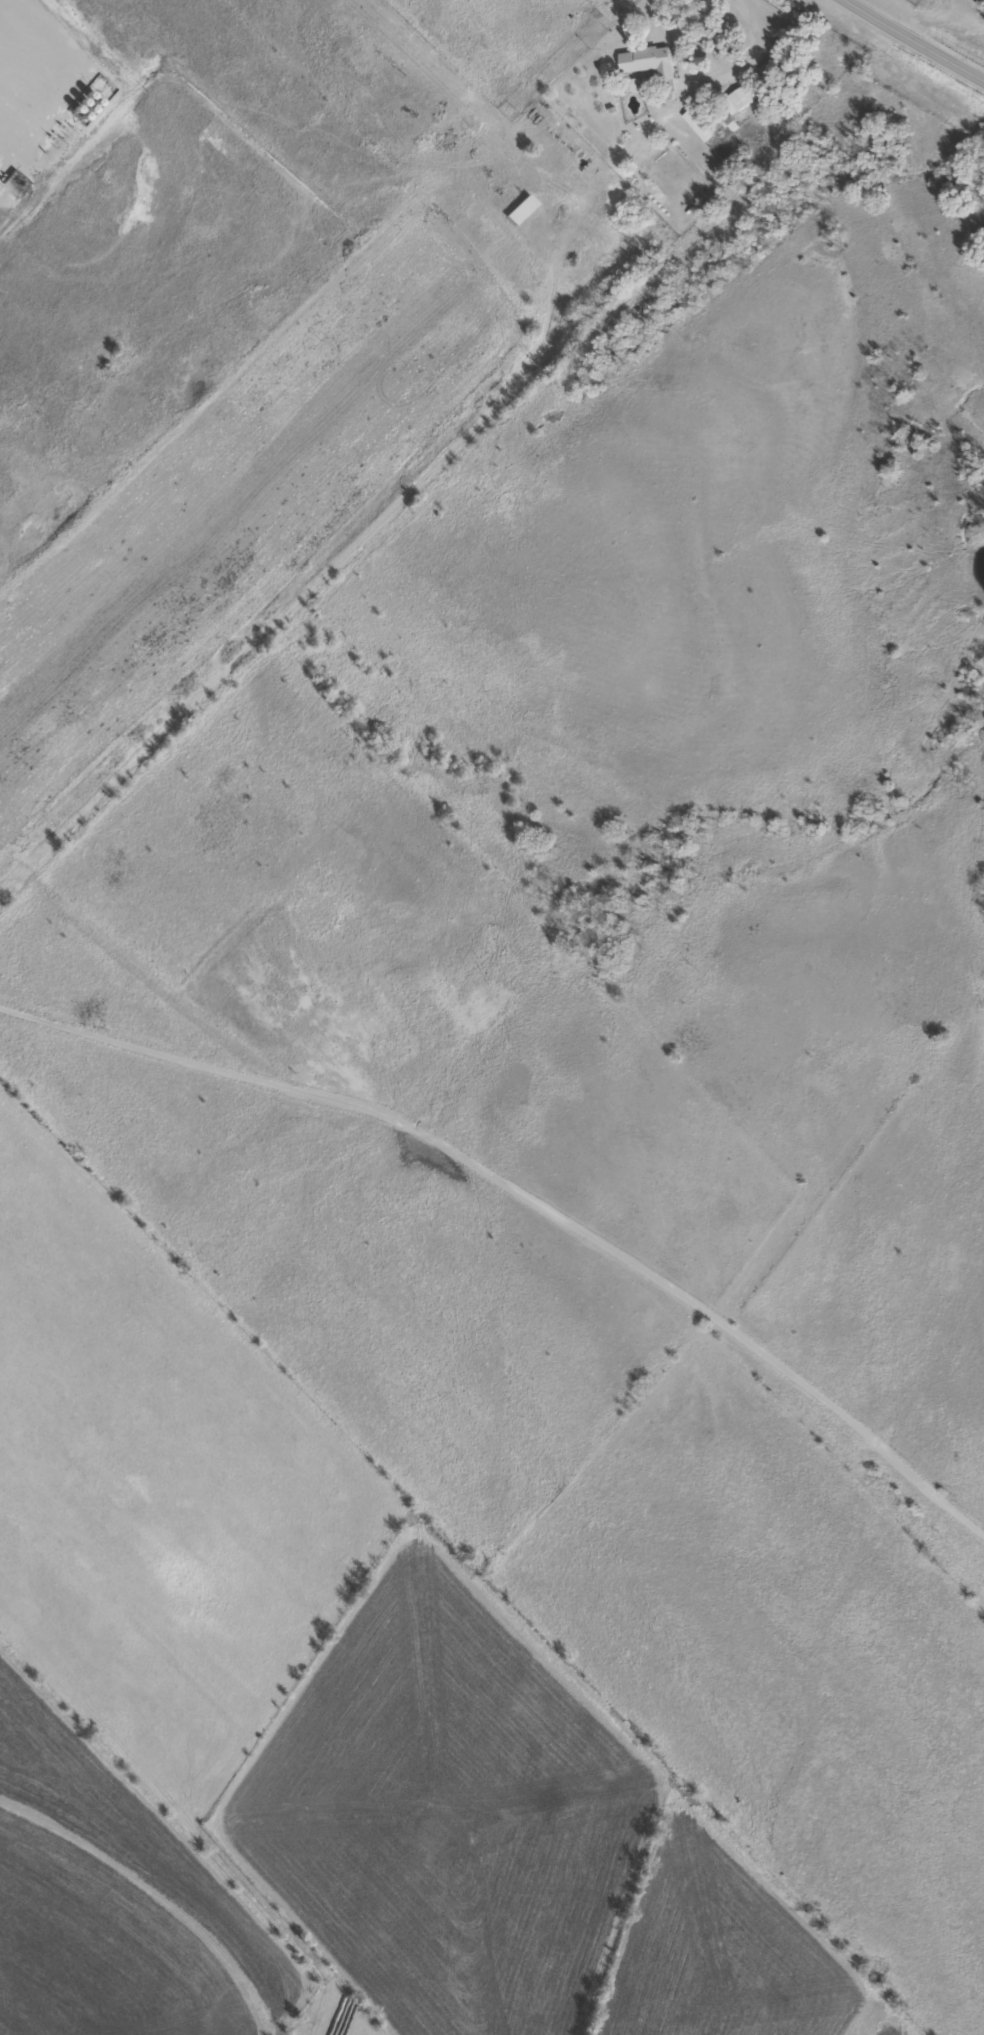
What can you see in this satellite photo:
building: (593, 0)
road: (912, 40)
building: (650, 63)
building: (745, 97)
building: (697, 126)
road: (530, 1193)

